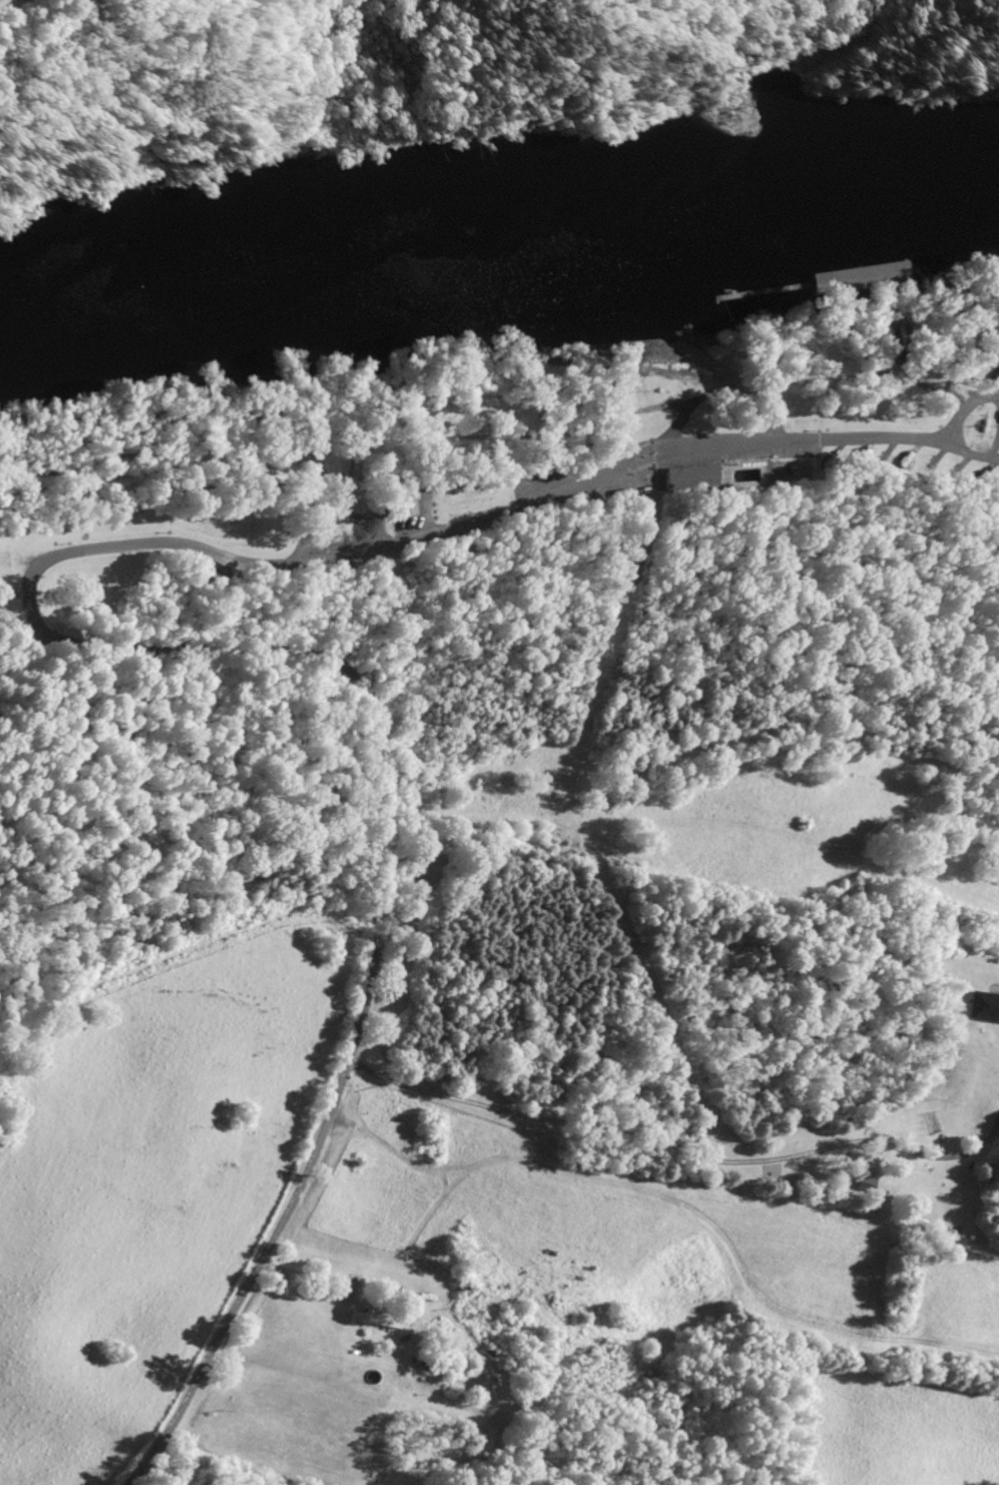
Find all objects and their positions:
river: (499, 257)
building: (858, 278)
road: (965, 405)
road: (968, 454)
building: (691, 478)
building: (404, 503)
road: (456, 522)
road: (16, 638)
road: (370, 941)
building: (982, 1006)
road: (676, 1145)
building: (374, 1319)

